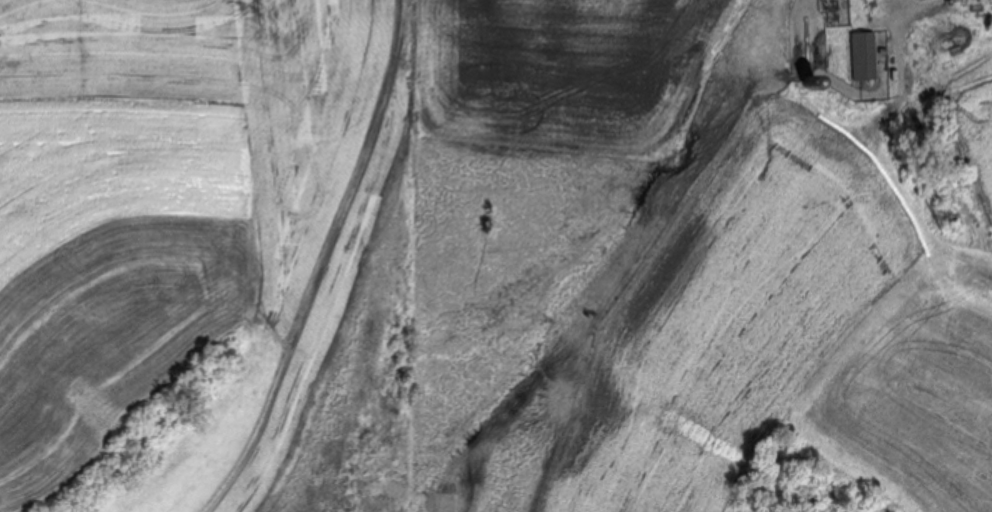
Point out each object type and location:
road: (895, 2)
building: (860, 55)

